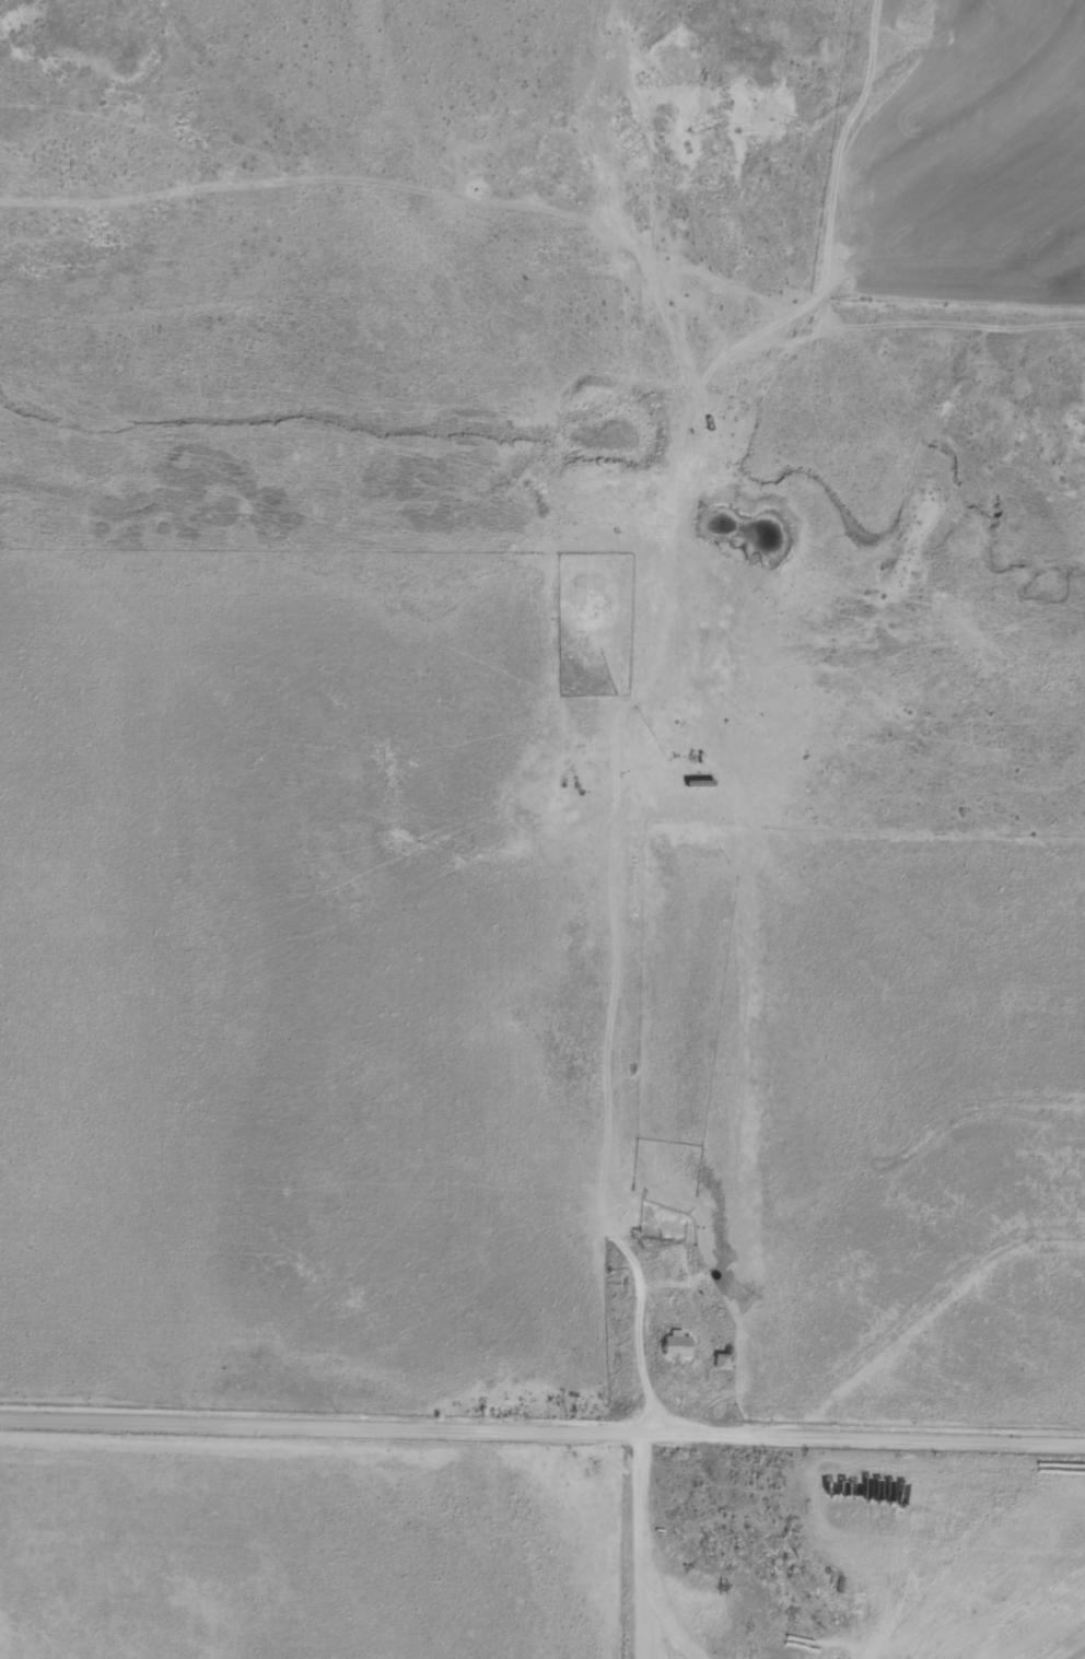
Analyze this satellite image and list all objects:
road: (623, 823)
building: (677, 1346)
road: (542, 1427)

